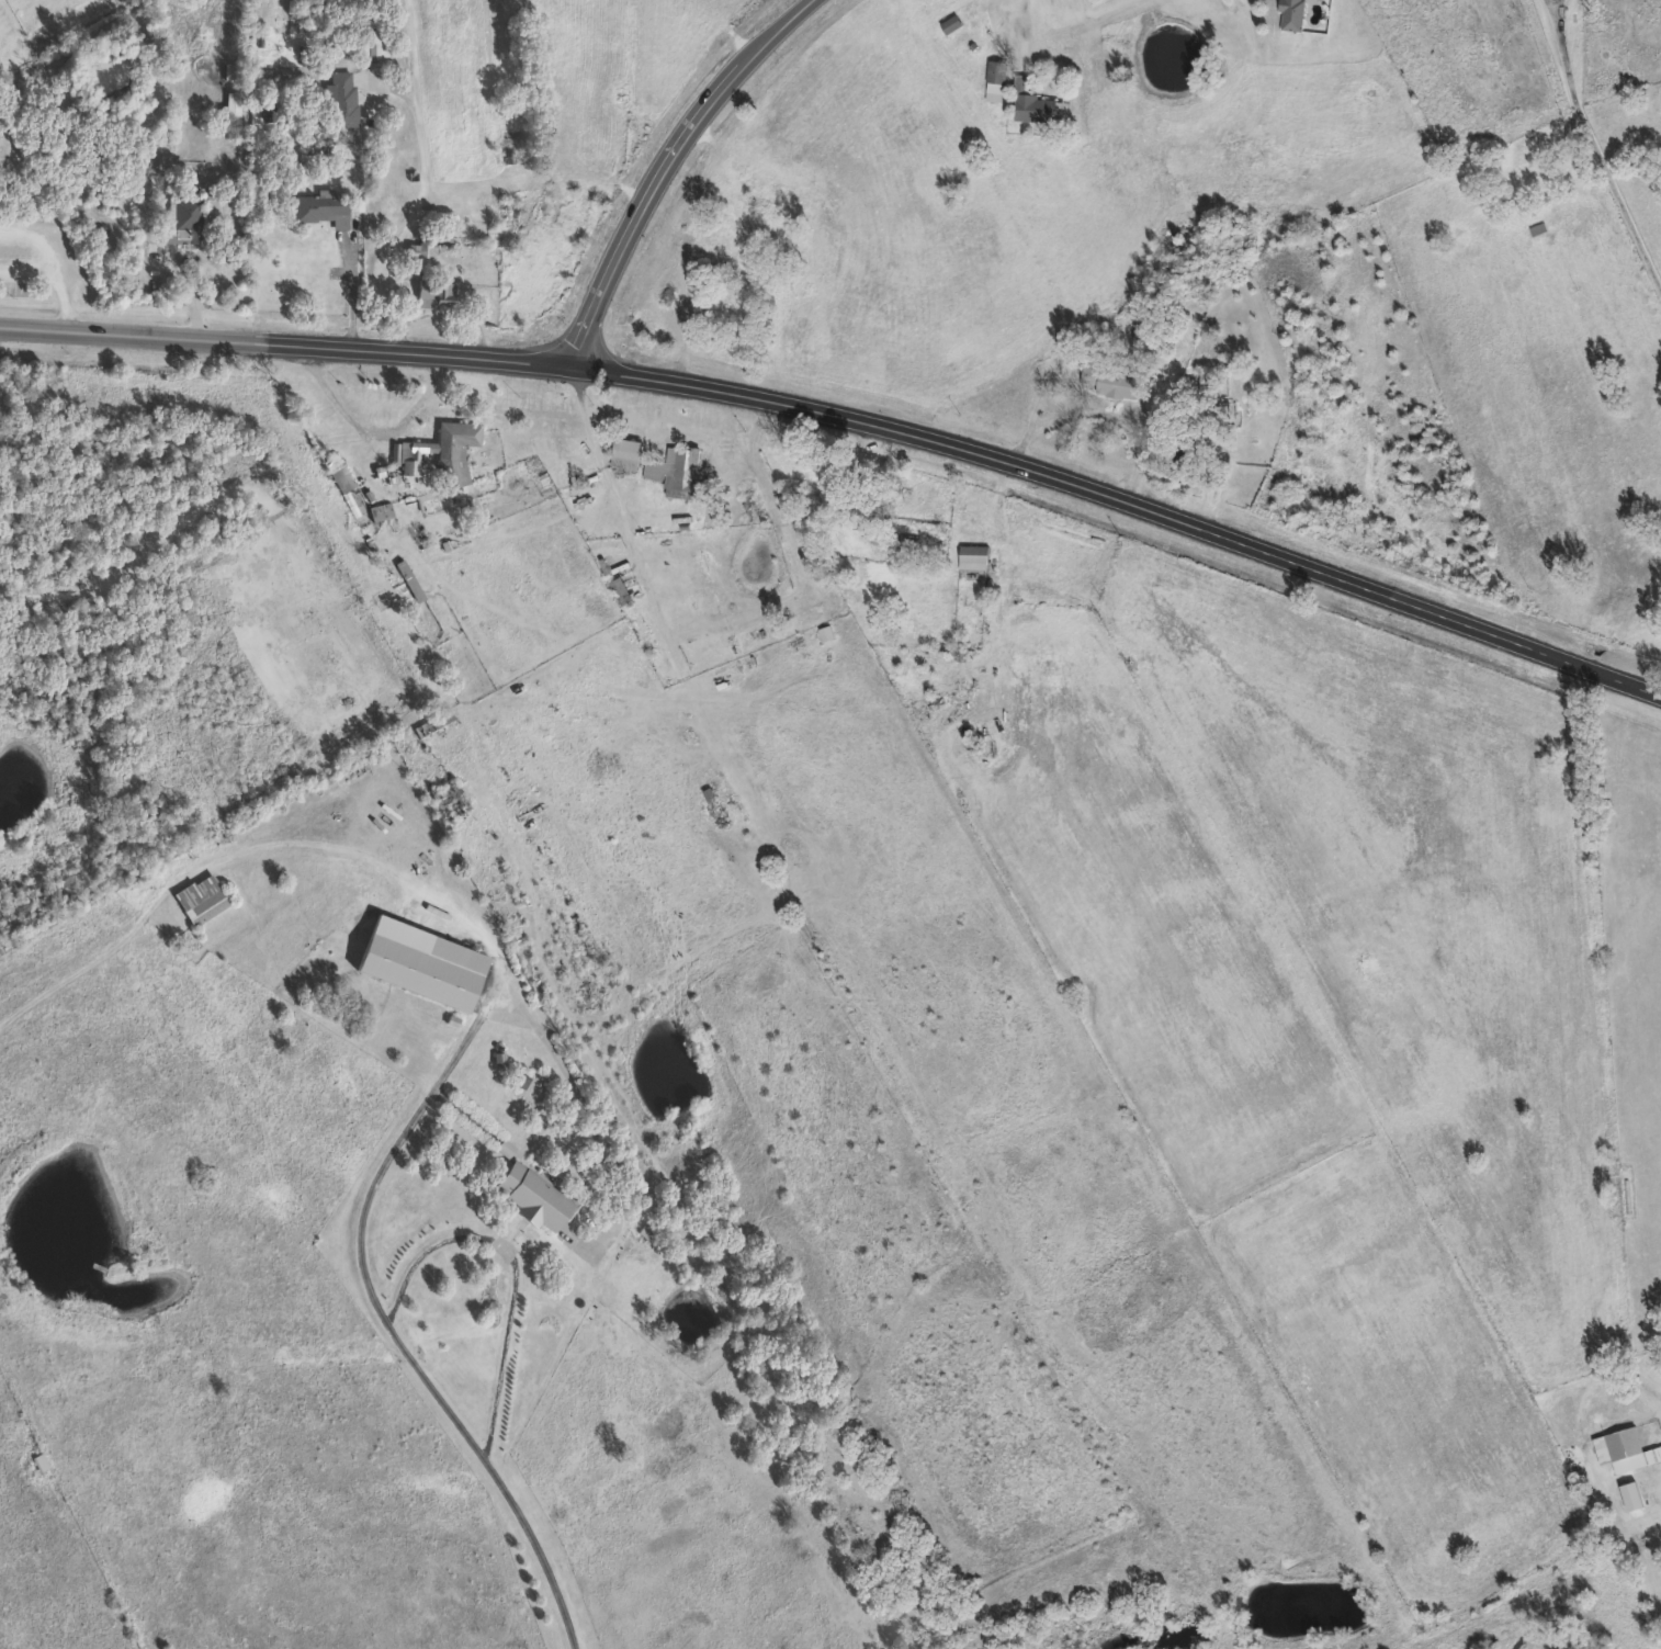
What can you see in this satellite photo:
building: (339, 0)
building: (1291, 13)
building: (951, 22)
road: (1022, 22)
building: (372, 42)
building: (229, 68)
building: (995, 79)
building: (340, 97)
building: (229, 104)
building: (1033, 105)
building: (264, 110)
road: (1597, 148)
road: (668, 163)
road: (427, 179)
building: (320, 206)
building: (506, 214)
building: (182, 219)
building: (1537, 226)
road: (57, 273)
building: (433, 292)
road: (349, 294)
building: (1111, 381)
road: (1036, 408)
road: (1116, 415)
road: (849, 419)
road: (376, 430)
building: (442, 450)
building: (625, 452)
building: (331, 461)
building: (679, 472)
building: (827, 490)
road: (625, 515)
building: (862, 516)
road: (185, 524)
building: (973, 553)
building: (620, 589)
building: (360, 643)
building: (273, 645)
building: (436, 721)
building: (444, 799)
road: (295, 843)
building: (200, 897)
park: (2, 949)
building: (420, 962)
road: (590, 1122)
building: (532, 1196)
road: (516, 1268)
road: (419, 1371)
building: (1624, 1449)
building: (38, 1461)

